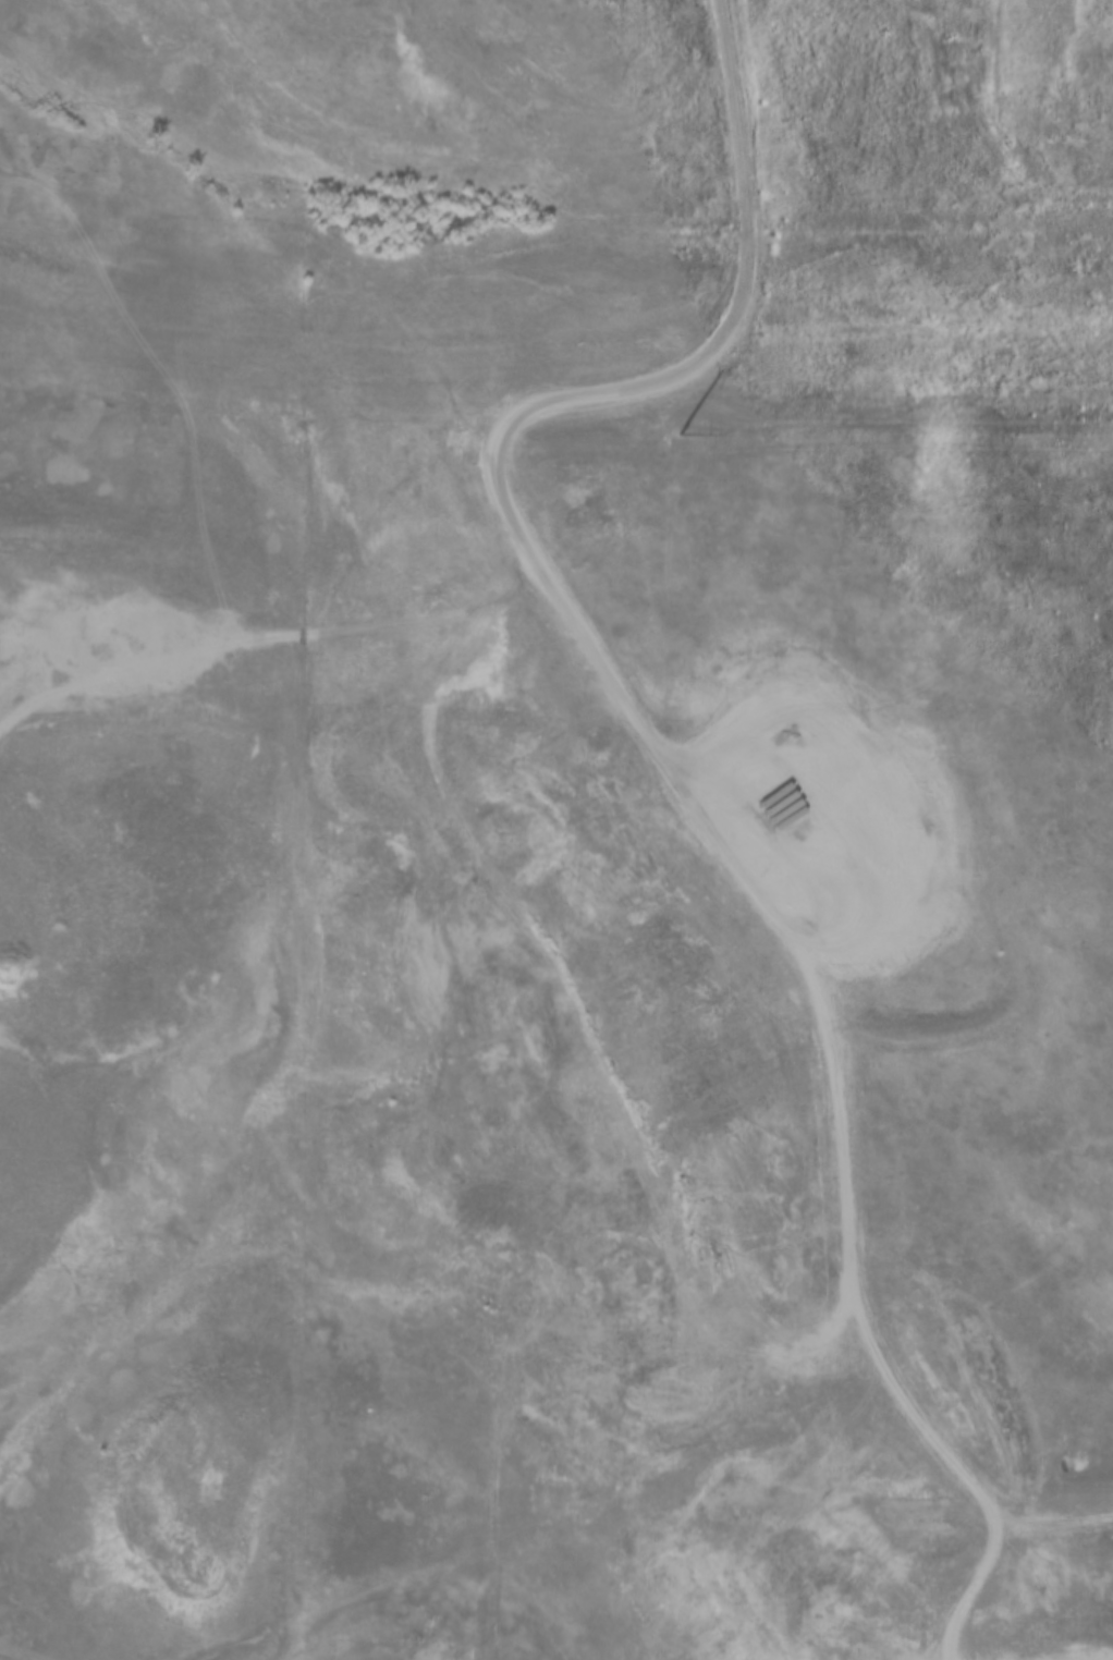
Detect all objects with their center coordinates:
quarry: (669, 196)
power tower: (674, 443)
quarry: (110, 634)
road: (515, 758)
quarry: (155, 925)
quarry: (726, 1487)
quarry: (181, 1508)

